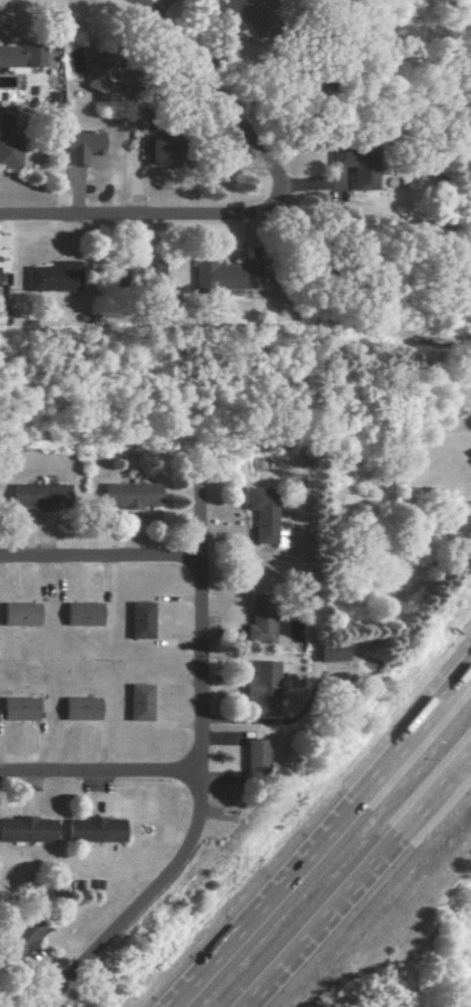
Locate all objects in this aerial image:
building: (229, 10)
building: (18, 55)
building: (94, 79)
road: (214, 93)
building: (7, 144)
building: (78, 146)
building: (336, 156)
building: (361, 178)
road: (307, 183)
road: (140, 214)
building: (148, 271)
building: (52, 277)
building: (224, 277)
building: (34, 495)
building: (128, 495)
building: (260, 513)
road: (101, 557)
road: (202, 602)
building: (80, 613)
building: (18, 614)
building: (138, 620)
building: (256, 620)
building: (327, 653)
building: (260, 688)
building: (137, 702)
building: (79, 708)
building: (17, 709)
road: (100, 774)
building: (27, 828)
building: (96, 828)
road: (322, 837)
road: (358, 881)
road: (144, 900)
building: (22, 936)

